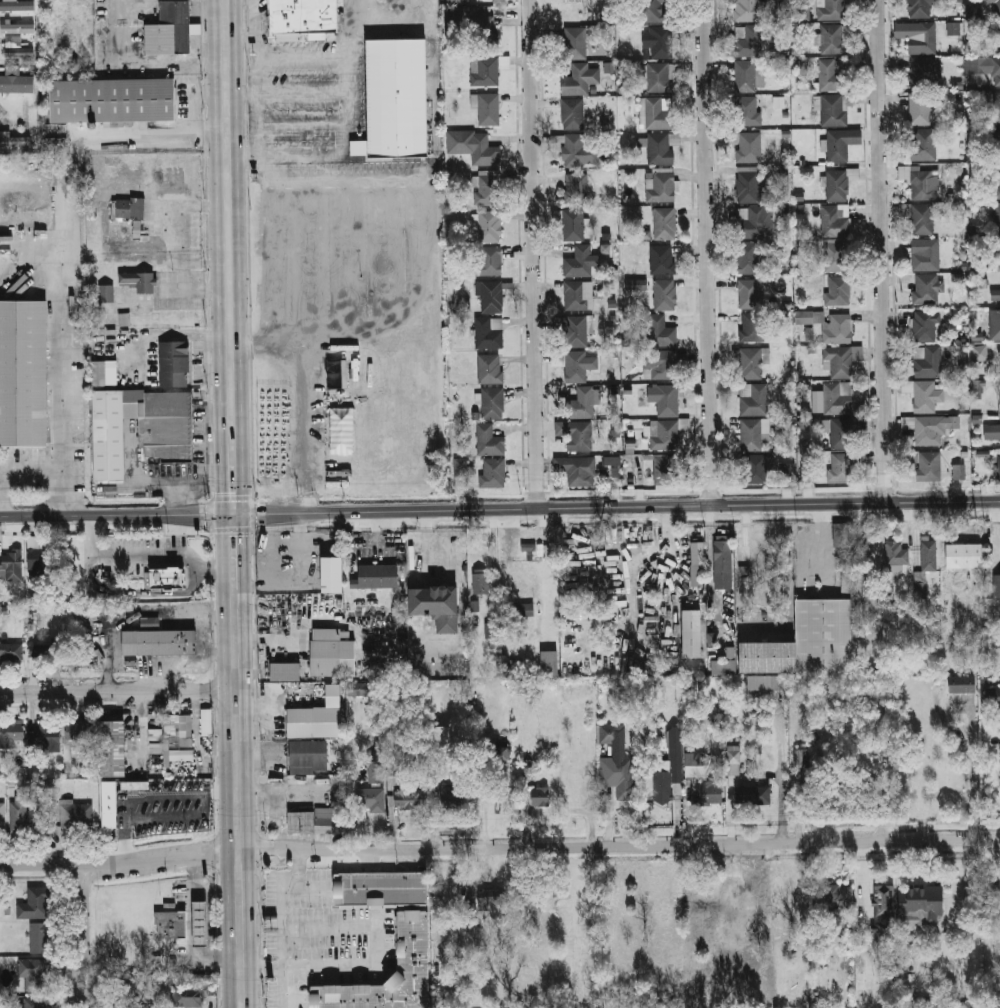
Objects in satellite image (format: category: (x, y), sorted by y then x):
building: (454, 1)
parking lot: (255, 4)
building: (17, 6)
building: (994, 6)
building: (923, 8)
building: (654, 10)
building: (749, 10)
building: (832, 10)
building: (803, 13)
building: (455, 15)
building: (305, 16)
building: (484, 25)
building: (18, 28)
building: (954, 28)
building: (172, 29)
road: (362, 31)
road: (239, 33)
building: (999, 36)
building: (923, 38)
building: (833, 39)
building: (660, 41)
building: (748, 41)
building: (575, 44)
building: (18, 49)
building: (797, 51)
building: (608, 67)
building: (983, 68)
building: (926, 71)
building: (832, 75)
building: (746, 76)
building: (660, 77)
road: (345, 79)
building: (485, 79)
building: (580, 80)
building: (16, 81)
road: (242, 93)
building: (398, 98)
building: (113, 102)
building: (778, 102)
road: (256, 103)
building: (997, 107)
building: (487, 108)
building: (920, 108)
building: (835, 109)
parking lot: (309, 110)
building: (747, 111)
building: (573, 113)
building: (656, 113)
building: (15, 141)
building: (840, 142)
building: (924, 144)
building: (996, 144)
building: (749, 146)
building: (358, 147)
building: (474, 147)
building: (660, 148)
building: (579, 152)
road: (242, 155)
building: (922, 181)
building: (747, 183)
building: (836, 184)
building: (997, 184)
building: (660, 187)
building: (489, 188)
building: (575, 188)
building: (128, 208)
building: (919, 217)
building: (997, 218)
building: (835, 219)
road: (229, 220)
building: (754, 221)
building: (664, 223)
building: (574, 225)
building: (489, 227)
road: (884, 250)
road: (64, 251)
road: (710, 252)
building: (998, 252)
road: (538, 253)
building: (925, 254)
building: (748, 257)
building: (836, 258)
building: (662, 259)
building: (577, 260)
building: (488, 262)
building: (138, 280)
building: (635, 284)
road: (194, 288)
building: (926, 288)
parking lot: (178, 289)
building: (838, 291)
building: (105, 292)
building: (664, 293)
building: (749, 293)
building: (578, 295)
building: (995, 296)
building: (490, 297)
building: (123, 319)
building: (829, 324)
building: (995, 324)
building: (926, 325)
building: (754, 327)
building: (576, 331)
building: (661, 331)
road: (166, 333)
building: (489, 333)
building: (808, 333)
road: (269, 341)
building: (979, 352)
building: (999, 355)
building: (838, 361)
building: (928, 361)
building: (752, 363)
building: (172, 364)
building: (659, 364)
building: (576, 367)
building: (490, 368)
building: (24, 373)
building: (103, 373)
building: (977, 389)
building: (924, 396)
building: (837, 397)
building: (664, 398)
building: (754, 399)
building: (999, 401)
building: (492, 403)
building: (580, 403)
road: (307, 426)
building: (141, 427)
building: (926, 429)
building: (843, 430)
building: (991, 433)
building: (576, 435)
building: (663, 435)
building: (752, 435)
building: (489, 439)
building: (612, 460)
road: (12, 465)
building: (459, 466)
building: (659, 466)
building: (928, 466)
building: (840, 467)
building: (999, 468)
building: (576, 469)
building: (755, 469)
building: (786, 470)
building: (608, 471)
building: (958, 471)
building: (492, 473)
road: (233, 476)
road: (669, 505)
road: (286, 512)
road: (117, 514)
traffic signals: (234, 514)
road: (606, 515)
road: (214, 526)
road: (192, 535)
building: (840, 535)
road: (821, 540)
road: (235, 547)
building: (966, 552)
building: (927, 554)
building: (722, 557)
building: (896, 557)
building: (39, 559)
road: (145, 559)
road: (633, 564)
building: (697, 564)
building: (11, 565)
building: (334, 574)
building: (377, 577)
building: (165, 579)
building: (744, 579)
building: (998, 582)
building: (481, 583)
building: (170, 591)
building: (450, 599)
building: (474, 605)
building: (525, 610)
road: (143, 620)
building: (149, 623)
building: (689, 633)
building: (330, 634)
building: (823, 635)
building: (160, 642)
building: (40, 650)
building: (11, 651)
building: (765, 656)
building: (326, 657)
building: (550, 663)
building: (721, 667)
building: (286, 671)
building: (766, 682)
building: (960, 683)
building: (359, 689)
road: (119, 690)
building: (992, 695)
building: (316, 717)
building: (207, 722)
building: (179, 725)
building: (79, 731)
building: (10, 736)
building: (156, 739)
building: (46, 740)
building: (113, 748)
building: (439, 748)
road: (607, 751)
building: (496, 752)
building: (676, 756)
building: (310, 757)
building: (801, 758)
building: (734, 760)
building: (618, 764)
building: (694, 764)
building: (526, 767)
building: (377, 771)
road: (607, 771)
road: (781, 776)
building: (662, 781)
road: (355, 783)
building: (134, 785)
road: (732, 787)
road: (239, 794)
building: (709, 794)
building: (754, 795)
building: (405, 796)
building: (452, 796)
building: (541, 796)
building: (372, 799)
building: (108, 804)
building: (77, 815)
road: (607, 816)
building: (2, 817)
building: (24, 817)
building: (316, 821)
road: (620, 846)
road: (164, 857)
road: (43, 864)
building: (381, 888)
building: (993, 888)
road: (216, 889)
building: (838, 892)
building: (492, 896)
building: (922, 902)
building: (35, 903)
building: (884, 903)
building: (743, 907)
road: (86, 922)
building: (201, 922)
gas station: (201, 922)
road: (211, 923)
building: (170, 924)
road: (190, 926)
road: (373, 929)
building: (39, 937)
building: (412, 941)
building: (729, 952)
road: (287, 968)
building: (32, 973)
building: (133, 982)
building: (156, 982)
building: (188, 996)
building: (32, 1003)
building: (148, 1006)

